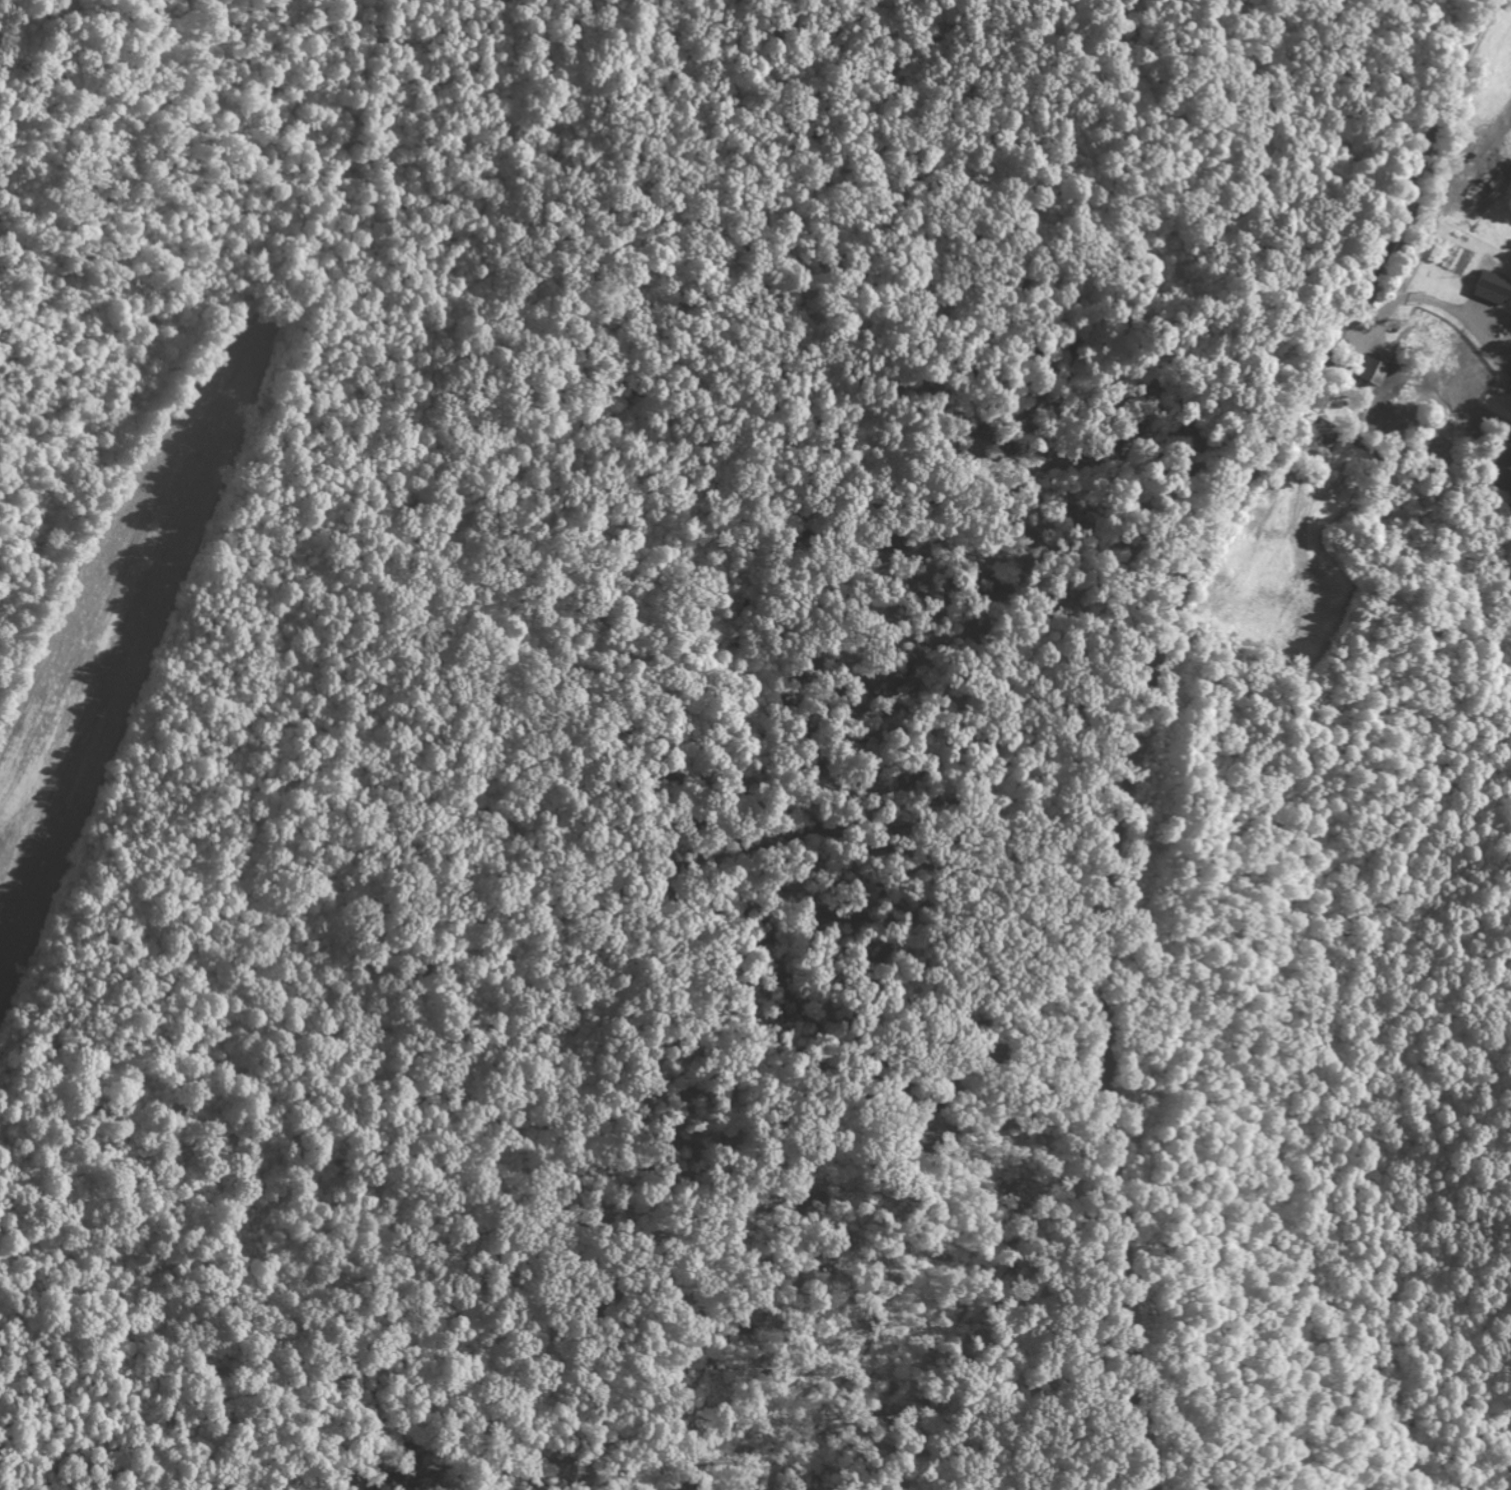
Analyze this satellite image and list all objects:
building: (1491, 286)
building: (1368, 368)
building: (1510, 388)
road: (1150, 706)

